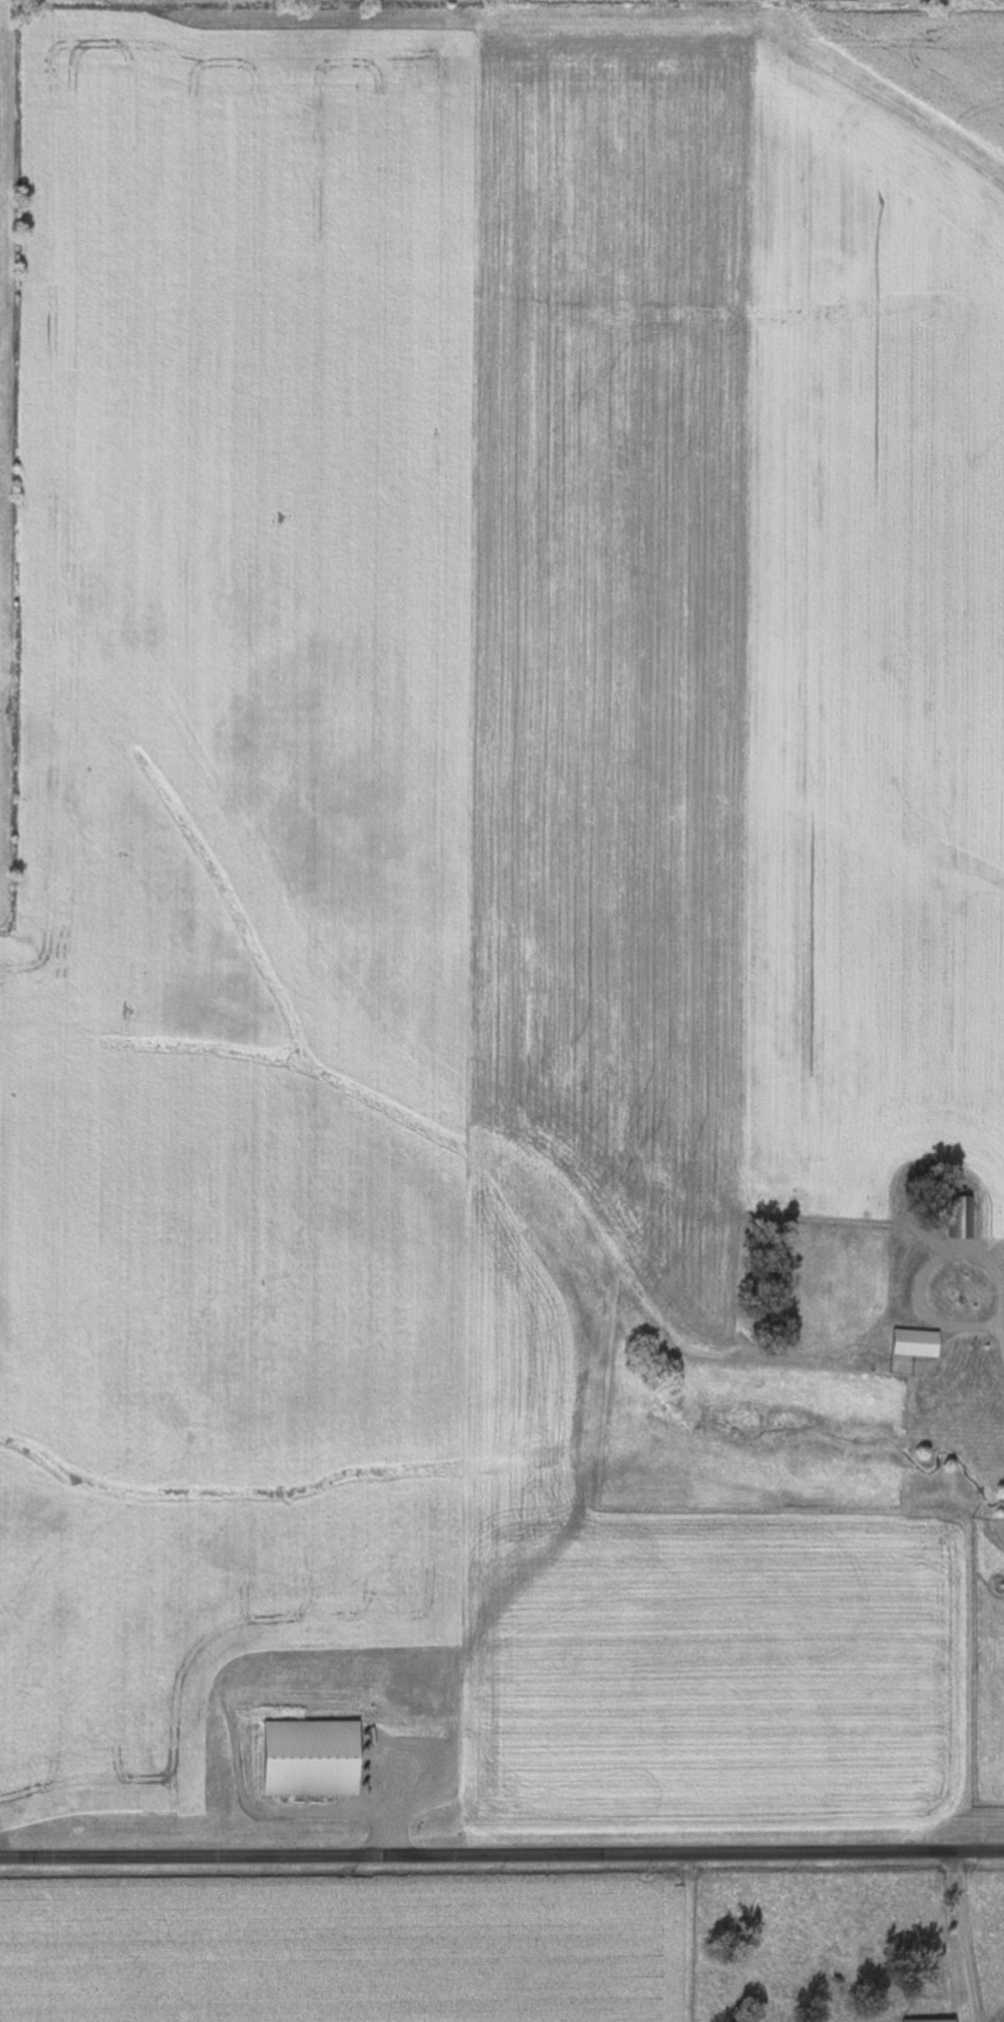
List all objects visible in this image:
building: (964, 1217)
building: (919, 1343)
road: (1003, 1366)
road: (501, 1855)
building: (934, 2019)

